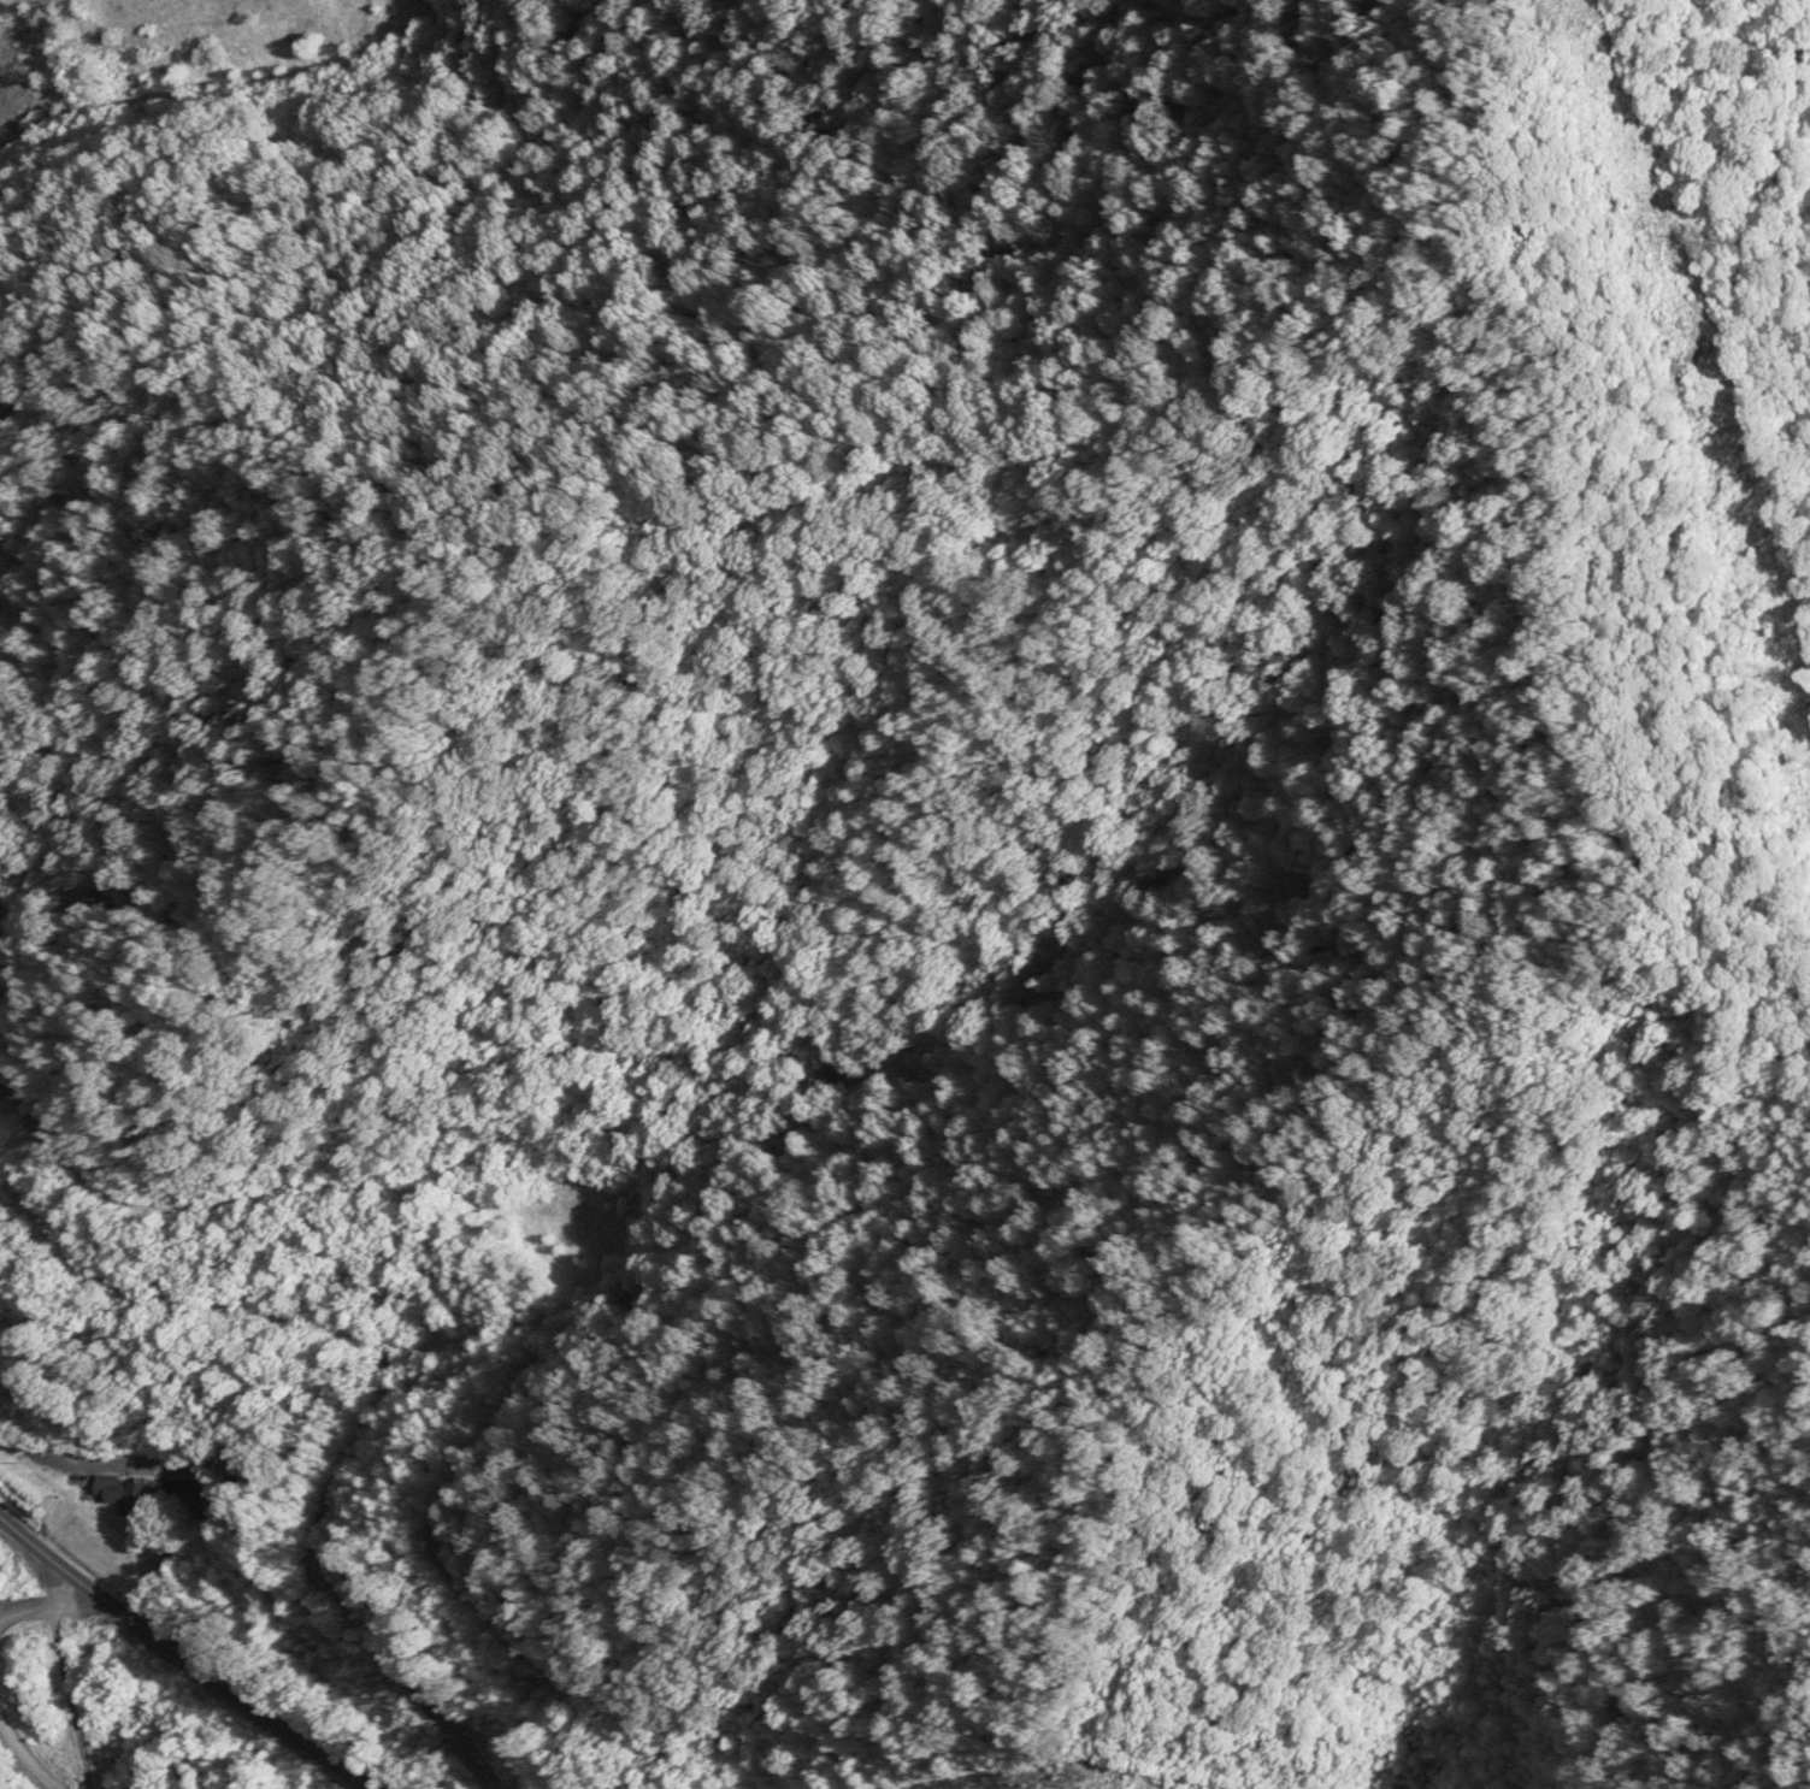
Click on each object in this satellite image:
building: (0, 1440)
building: (125, 1493)
road: (178, 1653)
road: (72, 1683)

